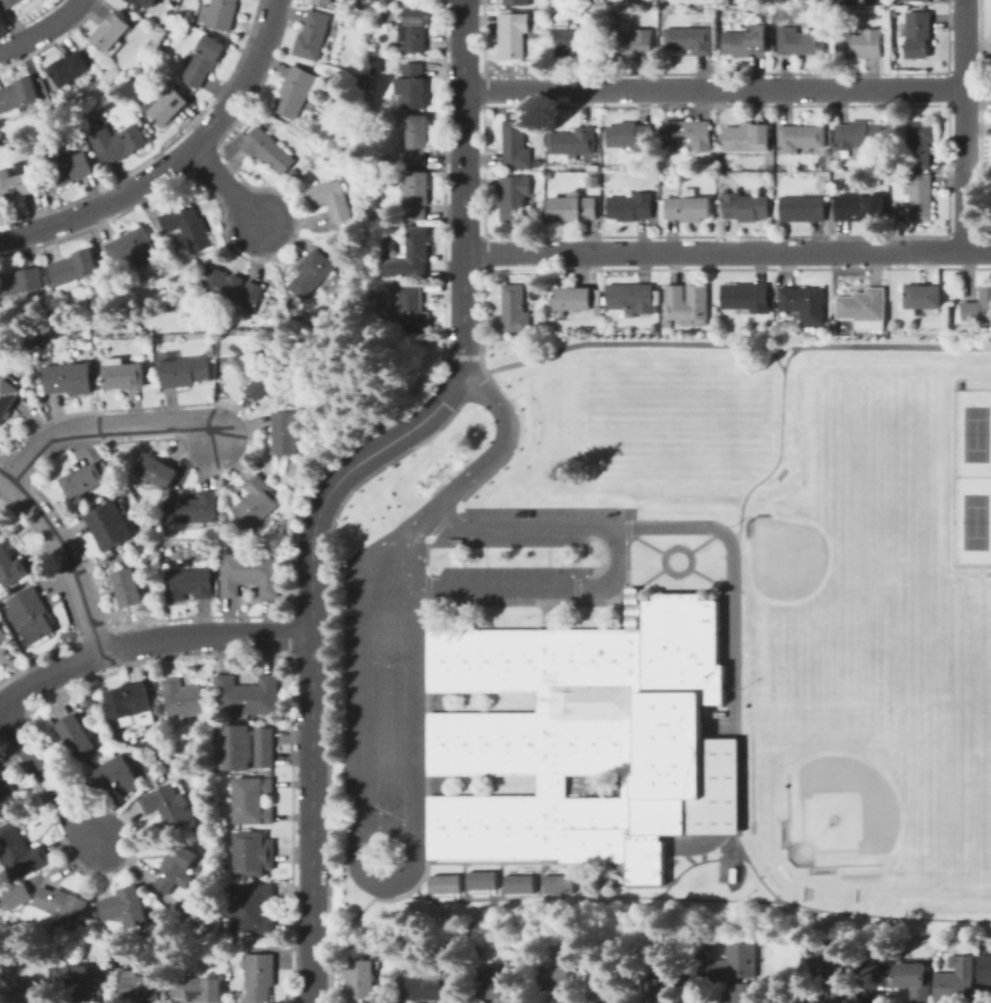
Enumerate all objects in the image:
building: (918, 0)
building: (322, 1)
building: (867, 1)
building: (139, 2)
building: (516, 2)
building: (8, 4)
building: (376, 7)
building: (366, 8)
building: (219, 14)
building: (549, 15)
building: (539, 16)
building: (337, 23)
road: (42, 28)
building: (412, 30)
building: (111, 31)
building: (512, 33)
building: (917, 34)
building: (540, 35)
building: (312, 36)
building: (573, 39)
building: (689, 40)
building: (745, 41)
building: (800, 42)
building: (630, 45)
building: (860, 45)
building: (717, 50)
building: (204, 60)
building: (393, 64)
building: (69, 69)
building: (413, 86)
road: (714, 90)
building: (297, 91)
building: (19, 95)
building: (167, 106)
building: (46, 117)
building: (64, 118)
road: (964, 125)
building: (689, 134)
building: (858, 135)
building: (629, 137)
building: (747, 138)
building: (800, 138)
building: (418, 140)
building: (118, 142)
building: (920, 142)
building: (573, 143)
building: (515, 146)
building: (268, 150)
road: (173, 159)
building: (537, 161)
building: (720, 164)
building: (71, 169)
building: (549, 175)
building: (684, 176)
building: (592, 178)
building: (654, 179)
building: (19, 181)
road: (223, 185)
building: (679, 191)
building: (418, 195)
building: (919, 196)
building: (513, 198)
building: (331, 199)
building: (630, 207)
building: (744, 207)
building: (858, 207)
building: (572, 208)
building: (688, 208)
building: (802, 208)
building: (187, 226)
building: (133, 249)
road: (727, 252)
building: (412, 255)
building: (75, 269)
building: (312, 274)
building: (20, 283)
building: (231, 288)
building: (631, 297)
building: (577, 298)
building: (746, 298)
building: (922, 298)
building: (687, 305)
building: (804, 305)
building: (863, 305)
building: (130, 307)
building: (978, 307)
building: (514, 309)
building: (414, 310)
building: (57, 320)
building: (271, 322)
building: (69, 325)
building: (535, 328)
building: (819, 331)
road: (726, 342)
building: (489, 344)
road: (773, 355)
building: (183, 370)
building: (258, 371)
building: (124, 374)
building: (69, 378)
building: (956, 385)
building: (8, 398)
park: (674, 416)
road: (105, 426)
building: (286, 432)
park: (974, 433)
road: (780, 448)
building: (158, 472)
park: (780, 473)
road: (470, 476)
road: (340, 477)
building: (83, 481)
building: (256, 502)
building: (198, 510)
park: (973, 521)
building: (110, 525)
park: (875, 527)
road: (626, 530)
road: (645, 541)
road: (668, 550)
road: (66, 553)
road: (616, 557)
building: (11, 567)
road: (731, 572)
building: (249, 574)
road: (709, 580)
park: (807, 580)
building: (189, 584)
building: (128, 588)
road: (632, 590)
road: (426, 591)
road: (627, 591)
building: (630, 608)
building: (31, 615)
road: (546, 616)
road: (427, 617)
building: (3, 635)
road: (147, 641)
park: (938, 649)
road: (428, 660)
park: (750, 678)
building: (247, 696)
building: (182, 699)
building: (211, 699)
building: (129, 701)
road: (429, 701)
building: (94, 709)
parking lot: (383, 717)
building: (574, 735)
building: (78, 736)
road: (429, 743)
building: (264, 746)
building: (238, 747)
building: (202, 750)
park: (956, 768)
building: (1, 772)
park: (860, 772)
building: (117, 776)
road: (47, 781)
park: (750, 782)
road: (430, 784)
building: (714, 789)
building: (7, 798)
building: (253, 800)
building: (169, 806)
road: (430, 826)
building: (20, 852)
building: (252, 854)
road: (354, 861)
road: (517, 862)
road: (696, 862)
building: (176, 867)
road: (526, 868)
building: (479, 879)
road: (499, 881)
road: (464, 882)
building: (517, 882)
building: (557, 882)
building: (606, 882)
building: (443, 883)
road: (374, 891)
road: (484, 894)
building: (19, 895)
road: (449, 897)
road: (657, 897)
road: (486, 901)
building: (63, 904)
building: (126, 907)
building: (250, 907)
building: (175, 909)
road: (360, 911)
road: (846, 911)
building: (208, 922)
building: (235, 942)
building: (396, 949)
building: (837, 960)
building: (736, 963)
building: (985, 969)
road: (698, 976)
building: (260, 977)
building: (361, 979)
building: (80, 980)
building: (914, 981)
building: (956, 981)
building: (560, 983)
building: (141, 987)
building: (497, 987)
building: (607, 988)
building: (198, 989)
building: (434, 989)
road: (873, 989)
building: (656, 990)
building: (20, 991)
building: (743, 994)
building: (841, 994)

